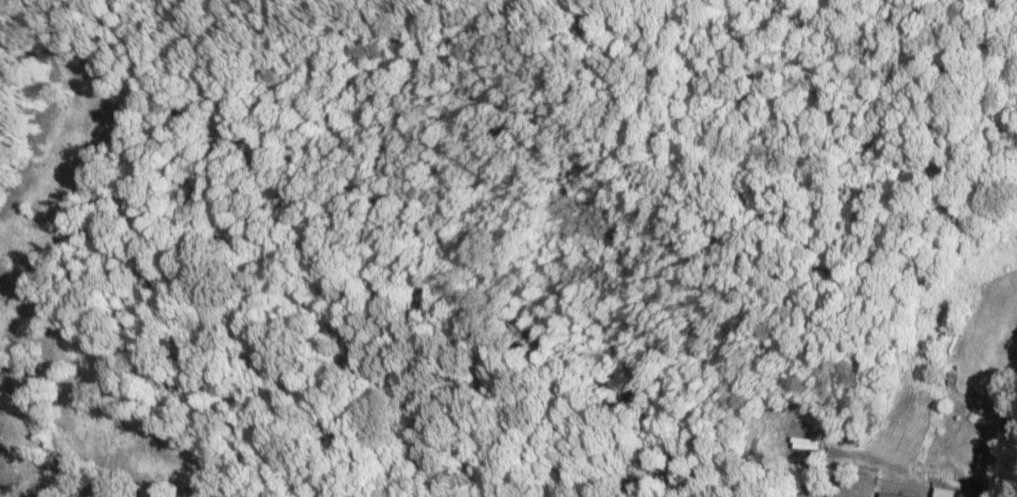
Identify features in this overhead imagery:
road: (998, 443)
building: (890, 495)

